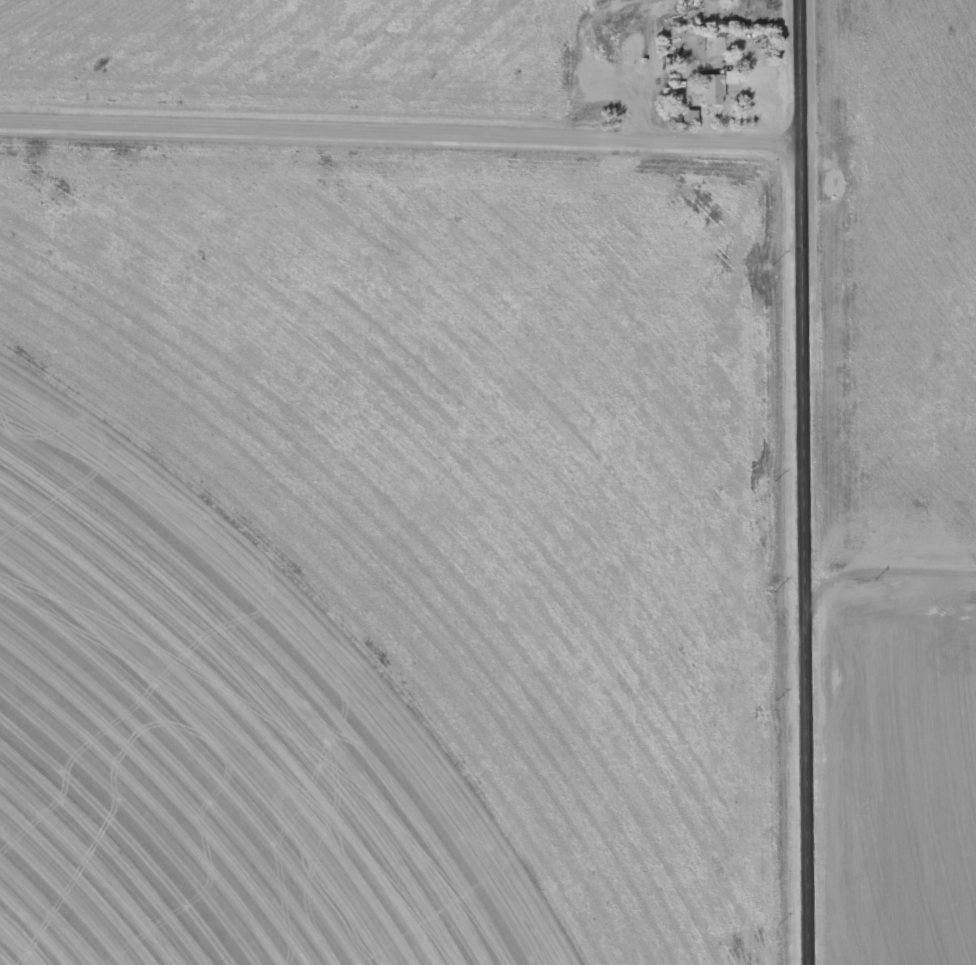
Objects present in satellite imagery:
road: (400, 131)
road: (805, 482)
road: (890, 578)

